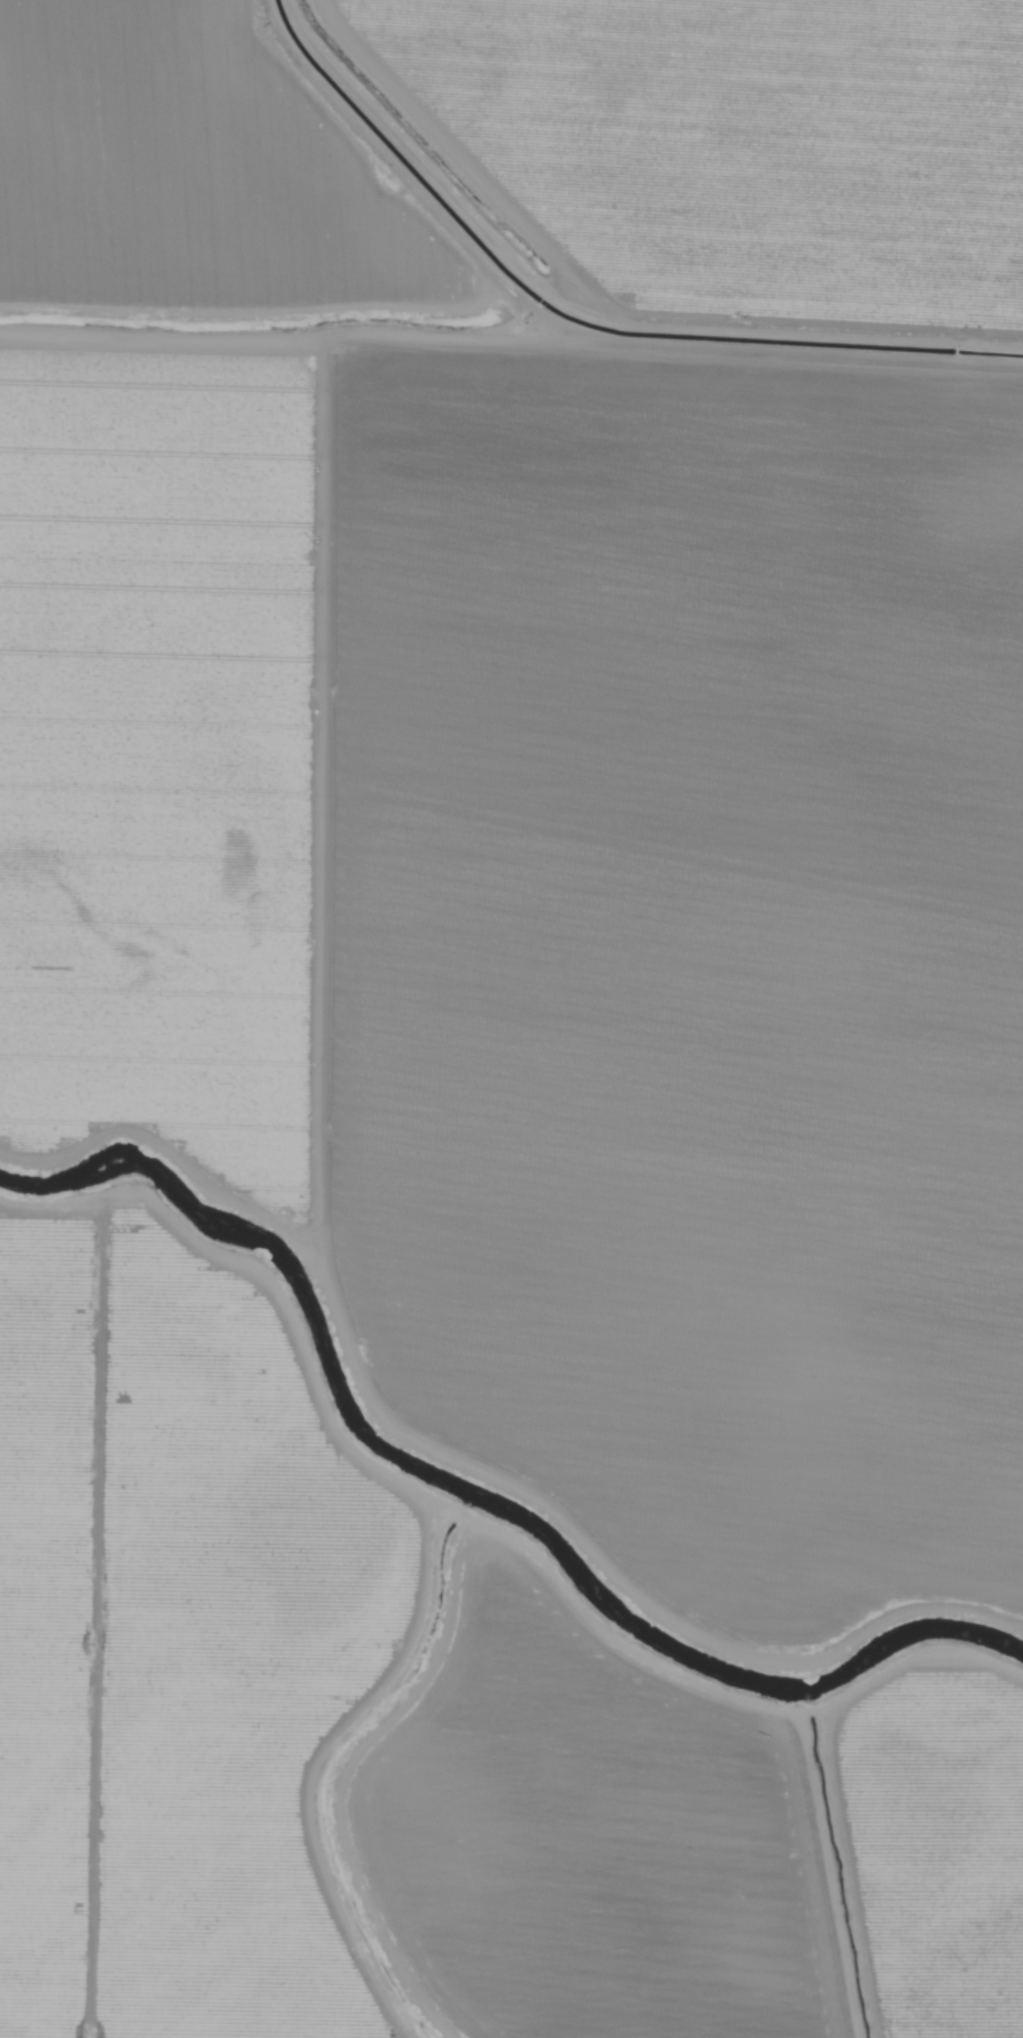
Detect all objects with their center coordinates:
road: (569, 337)
road: (306, 491)
crop: (511, 1019)

